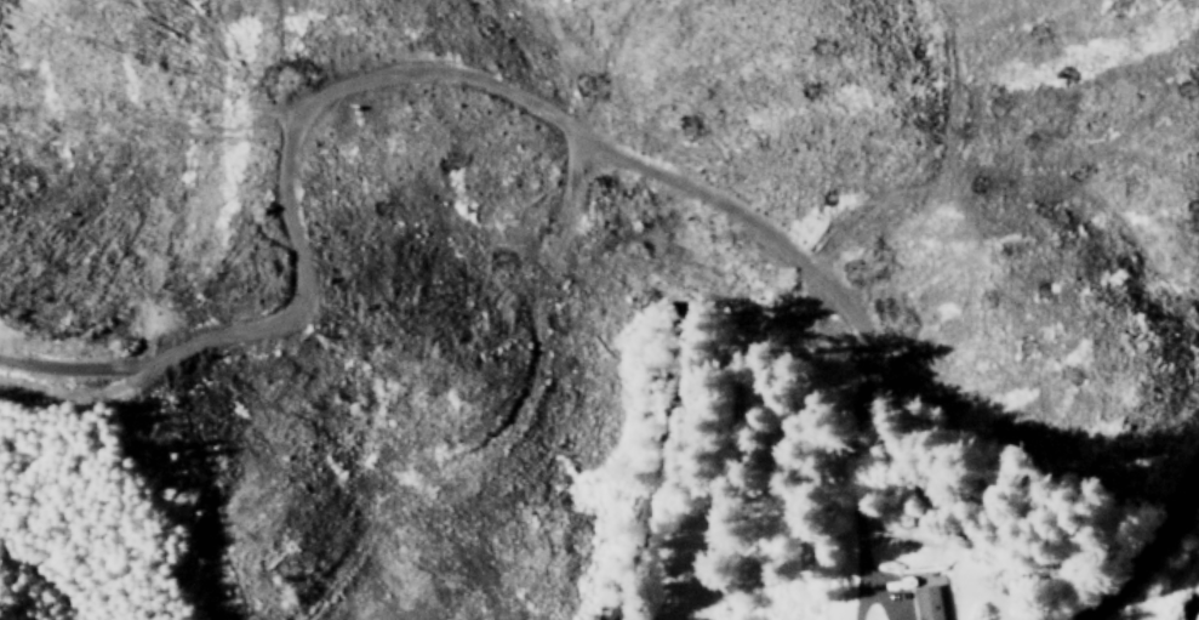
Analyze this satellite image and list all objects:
railway: (685, 303)
road: (1148, 550)
building: (926, 602)

